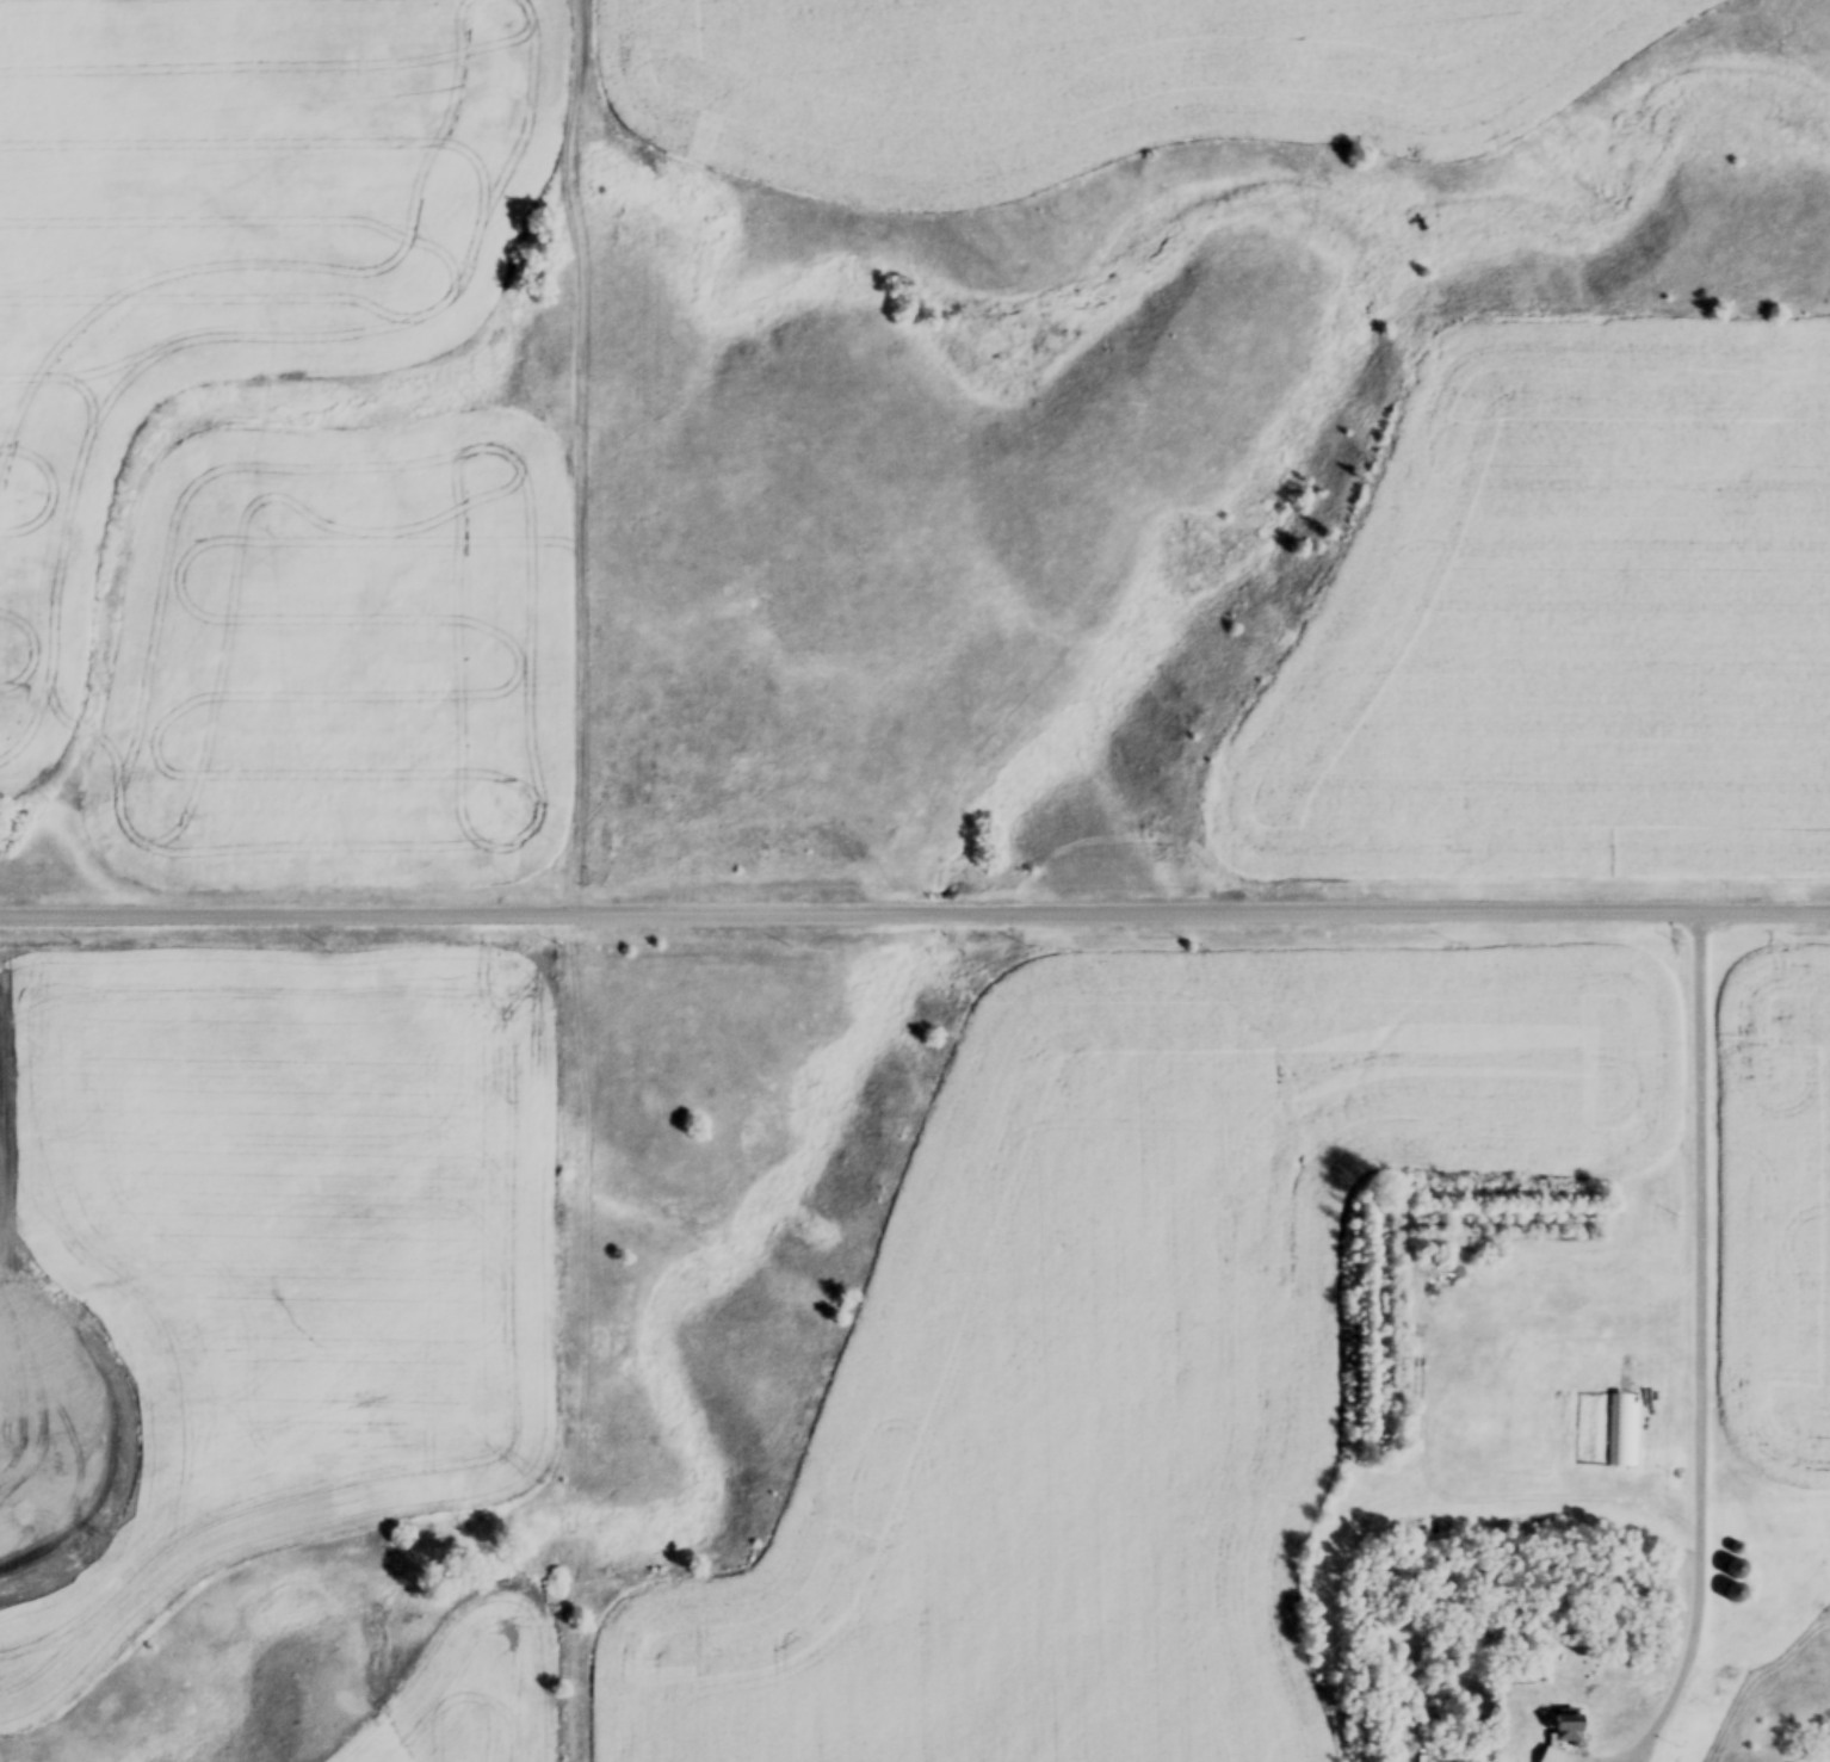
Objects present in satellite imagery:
road: (576, 453)
road: (914, 907)
road: (1700, 1352)
building: (1619, 1432)

